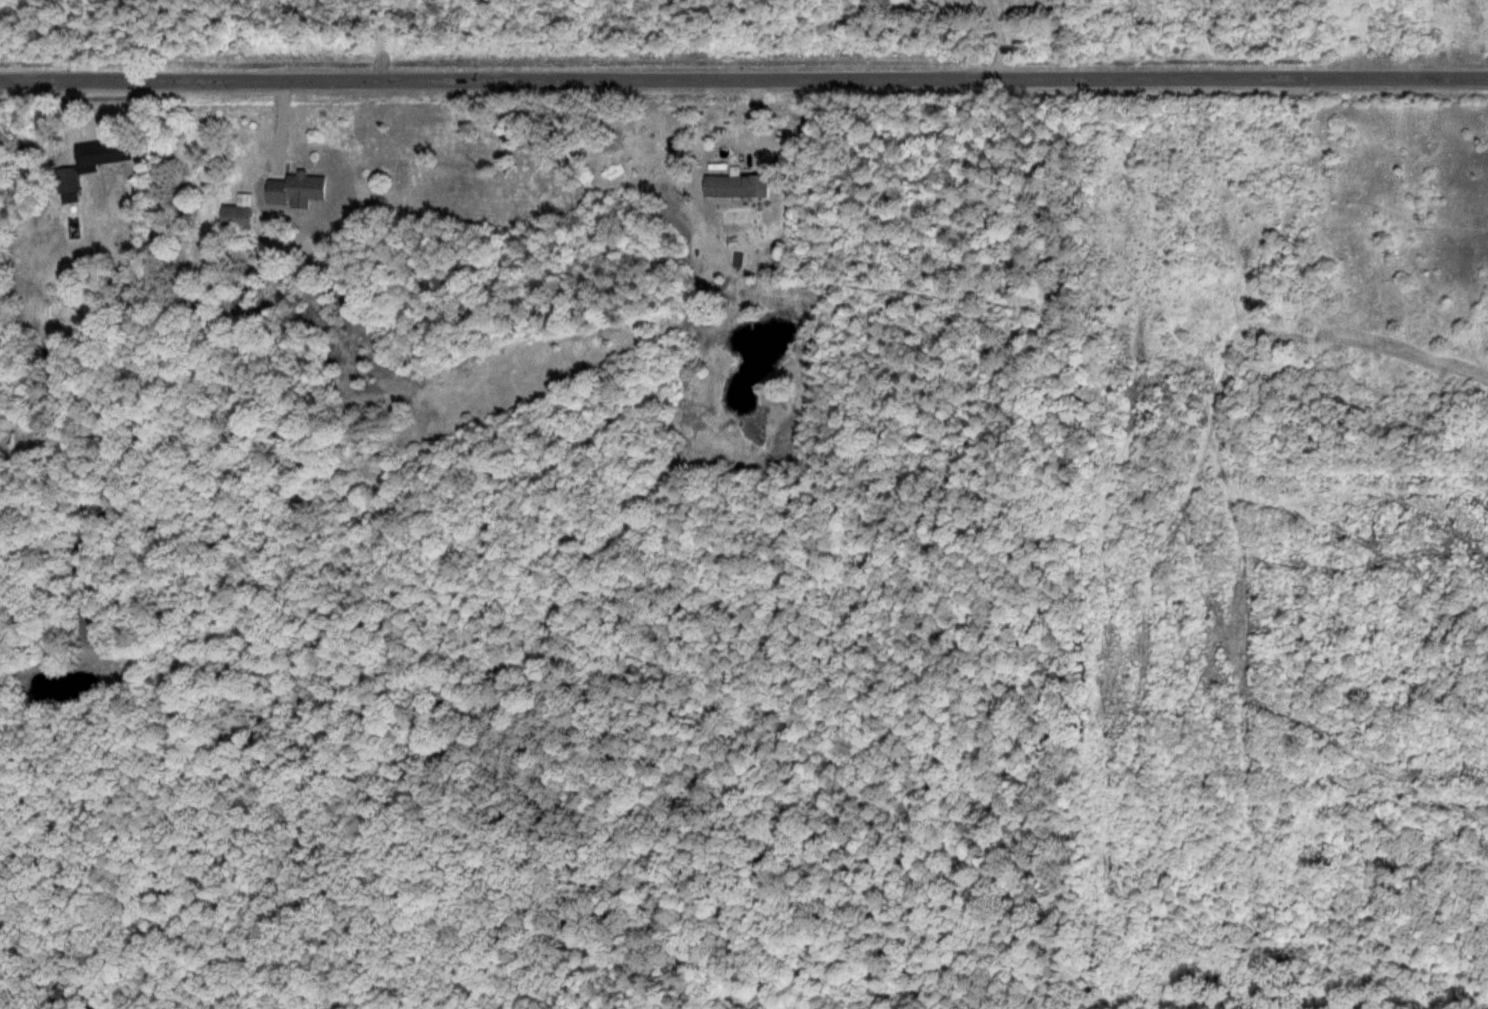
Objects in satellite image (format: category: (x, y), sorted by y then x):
road: (1003, 39)
road: (743, 80)
building: (73, 187)
building: (742, 187)
building: (302, 191)
building: (240, 218)

